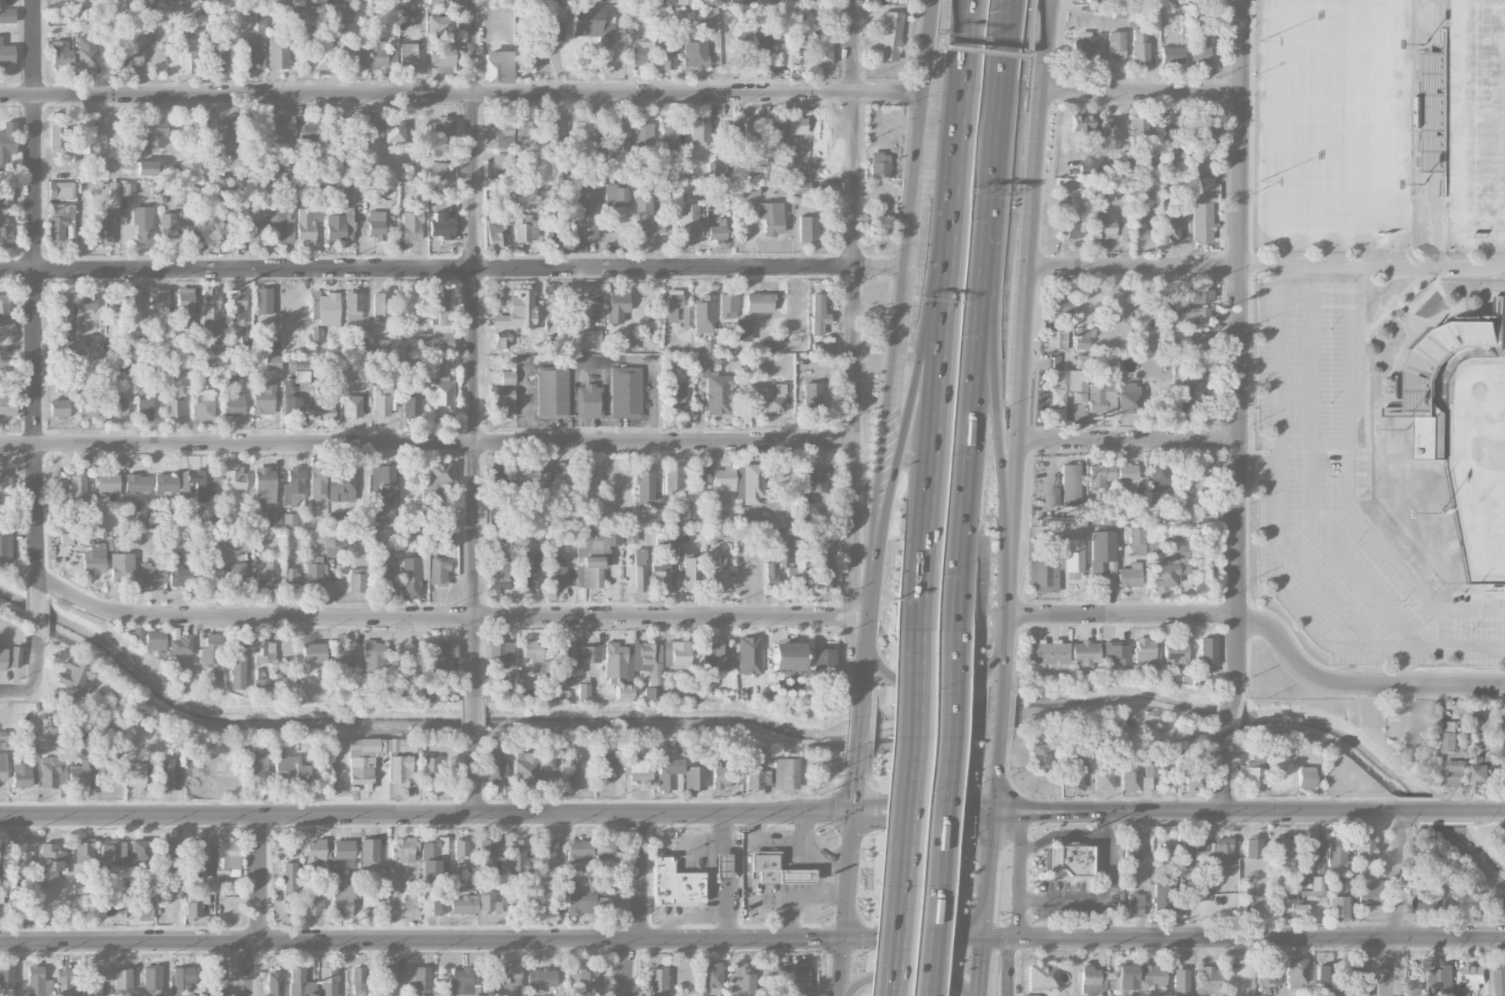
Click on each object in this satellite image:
building: (547, 0)
building: (595, 0)
building: (802, 0)
building: (170, 1)
building: (745, 1)
building: (360, 2)
building: (436, 2)
building: (666, 2)
building: (685, 2)
building: (773, 2)
building: (299, 14)
building: (347, 14)
building: (7, 15)
building: (707, 15)
building: (65, 16)
building: (312, 16)
building: (592, 23)
building: (438, 26)
building: (554, 30)
building: (889, 36)
building: (796, 41)
building: (1115, 44)
building: (1085, 46)
building: (1139, 48)
building: (1199, 48)
building: (779, 50)
road: (988, 50)
building: (86, 51)
building: (253, 52)
building: (278, 52)
building: (640, 52)
building: (743, 52)
building: (761, 52)
building: (823, 52)
building: (223, 53)
building: (321, 53)
building: (532, 53)
building: (61, 54)
building: (694, 54)
building: (6, 55)
building: (187, 55)
building: (380, 55)
building: (440, 55)
building: (665, 55)
building: (1171, 55)
building: (407, 56)
building: (798, 57)
building: (131, 58)
building: (356, 58)
building: (497, 67)
road: (1143, 91)
road: (959, 93)
road: (998, 94)
road: (462, 96)
building: (1435, 110)
building: (1080, 122)
building: (792, 125)
building: (1167, 125)
building: (335, 127)
building: (366, 127)
building: (444, 128)
building: (525, 129)
building: (750, 131)
building: (769, 131)
building: (280, 132)
building: (393, 132)
building: (554, 132)
building: (699, 132)
building: (155, 133)
building: (1138, 133)
building: (57, 134)
building: (311, 134)
building: (499, 134)
building: (642, 134)
building: (1200, 134)
building: (619, 136)
building: (669, 137)
building: (89, 138)
building: (223, 138)
building: (728, 141)
building: (8, 145)
building: (1095, 152)
building: (594, 154)
building: (1123, 163)
building: (879, 165)
building: (146, 167)
building: (178, 169)
building: (437, 170)
building: (273, 173)
building: (56, 175)
building: (230, 186)
building: (826, 187)
building: (127, 188)
building: (750, 188)
building: (113, 189)
building: (61, 190)
building: (343, 190)
building: (615, 195)
building: (4, 197)
building: (1203, 209)
building: (645, 216)
building: (586, 217)
building: (770, 217)
building: (59, 220)
building: (689, 222)
building: (340, 223)
building: (142, 224)
building: (280, 224)
building: (442, 224)
building: (307, 225)
building: (375, 225)
building: (1138, 225)
building: (103, 226)
building: (411, 226)
building: (169, 227)
building: (218, 227)
building: (1103, 227)
building: (191, 228)
building: (525, 228)
building: (807, 229)
building: (1074, 229)
building: (1169, 230)
building: (256, 231)
building: (1124, 231)
building: (4, 233)
building: (555, 233)
building: (495, 234)
road: (451, 268)
road: (1267, 268)
building: (1198, 294)
road: (34, 296)
building: (263, 300)
building: (758, 302)
building: (87, 303)
building: (132, 303)
building: (184, 303)
building: (672, 304)
road: (851, 304)
building: (352, 305)
building: (380, 305)
building: (616, 305)
building: (727, 305)
building: (1060, 307)
building: (4, 308)
building: (235, 308)
building: (325, 308)
building: (517, 310)
building: (63, 312)
building: (211, 313)
building: (703, 314)
building: (819, 316)
building: (1193, 316)
building: (436, 325)
building: (743, 330)
building: (315, 335)
building: (1083, 337)
building: (1143, 337)
building: (1055, 339)
building: (588, 340)
building: (245, 342)
building: (505, 342)
building: (1200, 342)
building: (629, 343)
building: (216, 345)
building: (64, 346)
building: (378, 346)
building: (768, 346)
road: (471, 350)
road: (1278, 354)
road: (1311, 354)
road: (1347, 355)
road: (938, 358)
building: (272, 362)
building: (332, 362)
road: (974, 362)
building: (296, 364)
road: (991, 372)
building: (507, 377)
building: (234, 378)
building: (1075, 385)
building: (712, 386)
building: (1409, 387)
road: (912, 390)
building: (294, 391)
building: (625, 392)
building: (552, 393)
building: (1188, 393)
building: (440, 394)
building: (676, 395)
building: (1101, 396)
building: (1056, 397)
building: (263, 398)
building: (811, 398)
building: (1127, 398)
building: (380, 400)
building: (411, 400)
building: (775, 400)
building: (588, 401)
building: (144, 402)
building: (233, 403)
building: (500, 403)
building: (7, 404)
building: (204, 406)
building: (351, 406)
road: (1242, 406)
building: (116, 407)
building: (322, 407)
building: (59, 408)
building: (173, 408)
building: (86, 412)
road: (1260, 441)
road: (1132, 442)
road: (425, 443)
building: (563, 471)
building: (495, 474)
building: (517, 474)
building: (539, 474)
building: (1100, 475)
building: (1158, 476)
building: (673, 478)
building: (1126, 478)
building: (341, 479)
building: (699, 479)
building: (723, 479)
building: (4, 480)
building: (235, 480)
building: (816, 480)
building: (317, 481)
building: (202, 482)
building: (107, 483)
building: (136, 483)
building: (165, 483)
building: (752, 484)
building: (1069, 485)
building: (264, 486)
building: (293, 486)
building: (58, 487)
building: (77, 487)
building: (646, 488)
building: (1192, 489)
building: (434, 491)
building: (382, 494)
road: (875, 497)
road: (1016, 497)
building: (127, 508)
building: (1137, 508)
building: (682, 511)
building: (1153, 513)
building: (494, 518)
building: (273, 519)
building: (289, 519)
building: (335, 519)
building: (753, 519)
building: (714, 520)
building: (712, 535)
building: (787, 535)
building: (446, 536)
building: (494, 536)
road: (1367, 536)
building: (631, 537)
building: (666, 537)
building: (66, 538)
building: (612, 538)
building: (335, 541)
building: (1136, 541)
building: (241, 543)
building: (5, 547)
building: (587, 552)
building: (785, 554)
building: (1101, 556)
building: (94, 559)
building: (1072, 559)
building: (591, 560)
building: (1167, 565)
building: (121, 567)
building: (639, 568)
building: (178, 571)
building: (315, 572)
building: (438, 572)
building: (528, 572)
building: (660, 572)
building: (690, 572)
building: (822, 572)
building: (151, 573)
building: (383, 574)
building: (556, 574)
building: (720, 574)
building: (771, 575)
building: (1129, 575)
building: (233, 576)
building: (262, 576)
building: (1042, 576)
building: (410, 577)
building: (497, 578)
building: (291, 579)
building: (797, 579)
building: (356, 580)
road: (859, 600)
road: (36, 612)
road: (441, 615)
road: (1126, 615)
road: (856, 630)
building: (137, 633)
building: (154, 640)
building: (179, 642)
building: (211, 650)
road: (1444, 650)
building: (264, 651)
building: (1145, 651)
building: (1206, 651)
building: (1116, 652)
building: (1174, 652)
building: (313, 653)
building: (499, 653)
building: (537, 653)
building: (1047, 653)
building: (1084, 653)
building: (589, 654)
building: (676, 654)
building: (345, 655)
building: (715, 655)
building: (748, 655)
building: (372, 656)
building: (402, 656)
building: (786, 656)
building: (15, 657)
road: (36, 657)
building: (2, 658)
building: (442, 658)
building: (822, 659)
building: (570, 660)
building: (614, 660)
building: (238, 663)
building: (74, 674)
road: (913, 681)
building: (260, 683)
road: (1358, 684)
building: (450, 687)
road: (943, 687)
road: (18, 691)
building: (501, 691)
building: (583, 691)
building: (622, 692)
building: (651, 693)
building: (1464, 706)
road: (472, 719)
building: (55, 728)
building: (30, 736)
building: (1194, 743)
building: (372, 755)
building: (1041, 756)
building: (1455, 756)
building: (746, 757)
building: (1254, 760)
building: (496, 763)
building: (102, 764)
building: (544, 765)
road: (942, 765)
building: (2, 766)
building: (255, 767)
building: (282, 767)
building: (523, 768)
building: (572, 768)
building: (602, 768)
building: (639, 769)
building: (430, 770)
building: (1150, 770)
building: (1485, 770)
building: (400, 771)
building: (50, 772)
building: (668, 773)
building: (784, 773)
building: (1129, 773)
building: (21, 774)
building: (79, 774)
building: (136, 774)
road: (472, 774)
building: (1072, 774)
building: (299, 775)
building: (720, 775)
building: (169, 776)
building: (695, 777)
traffic signals: (858, 777)
building: (1251, 777)
building: (1305, 777)
building: (1193, 778)
building: (756, 779)
building: (1103, 779)
road: (925, 803)
traffic signals: (875, 805)
road: (1250, 811)
road: (427, 812)
traffic signals: (1017, 812)
traffic signals: (874, 824)
road: (924, 824)
road: (1102, 824)
road: (803, 827)
road: (1059, 835)
road: (680, 842)
road: (793, 842)
building: (1308, 845)
building: (1280, 846)
building: (1253, 847)
building: (460, 848)
traffic signals: (994, 848)
building: (403, 849)
building: (1130, 849)
building: (1364, 849)
building: (83, 851)
building: (486, 851)
building: (579, 851)
building: (604, 851)
building: (1191, 851)
building: (1221, 851)
building: (1336, 851)
building: (141, 852)
building: (317, 852)
building: (201, 853)
building: (369, 853)
building: (546, 853)
building: (0, 854)
building: (112, 854)
building: (345, 854)
road: (834, 856)
building: (22, 858)
building: (519, 858)
building: (226, 859)
building: (433, 859)
building: (1065, 859)
building: (1164, 863)
building: (50, 864)
building: (721, 866)
building: (776, 869)
road: (1399, 874)
road: (733, 875)
road: (640, 876)
road: (1019, 876)
road: (261, 878)
building: (289, 880)
building: (675, 883)
building: (1317, 886)
road: (796, 892)
building: (1199, 893)
building: (146, 895)
building: (529, 895)
road: (1089, 895)
building: (1369, 895)
building: (1162, 896)
building: (1, 898)
building: (343, 899)
building: (368, 899)
building: (578, 899)
building: (1251, 900)
building: (438, 902)
building: (488, 902)
building: (1427, 902)
building: (311, 903)
building: (1133, 903)
building: (1336, 903)
building: (463, 904)
building: (604, 905)
building: (1273, 905)
building: (1293, 905)
building: (193, 909)
road: (888, 914)
road: (898, 914)
road: (688, 917)
traffic signals: (846, 919)
road: (752, 940)
traffic signals: (821, 940)
traffic signals: (966, 942)
traffic signals: (985, 958)
road: (1388, 966)
road: (628, 968)
road: (1010, 968)
road: (249, 969)
building: (1296, 973)
building: (510, 975)
building: (1268, 975)
building: (388, 976)
building: (1041, 976)
building: (1152, 976)
building: (1125, 977)
building: (1474, 977)
building: (183, 978)
building: (711, 978)
road: (911, 978)
building: (7, 979)
building: (122, 979)
building: (1413, 979)
building: (210, 980)
building: (539, 980)
building: (741, 980)
building: (774, 980)
building: (800, 980)
building: (1442, 980)
building: (63, 981)
building: (151, 981)
building: (328, 981)
building: (358, 981)
building: (418, 981)
building: (586, 981)
building: (656, 981)
building: (1092, 981)
building: (1180, 981)
building: (1207, 981)
building: (1326, 981)
building: (1355, 981)
building: (1498, 981)
building: (37, 982)
building: (464, 982)
building: (274, 983)
building: (300, 983)
building: (93, 984)
building: (76, 994)
building: (795, 994)
building: (194, 995)
building: (1029, 995)

